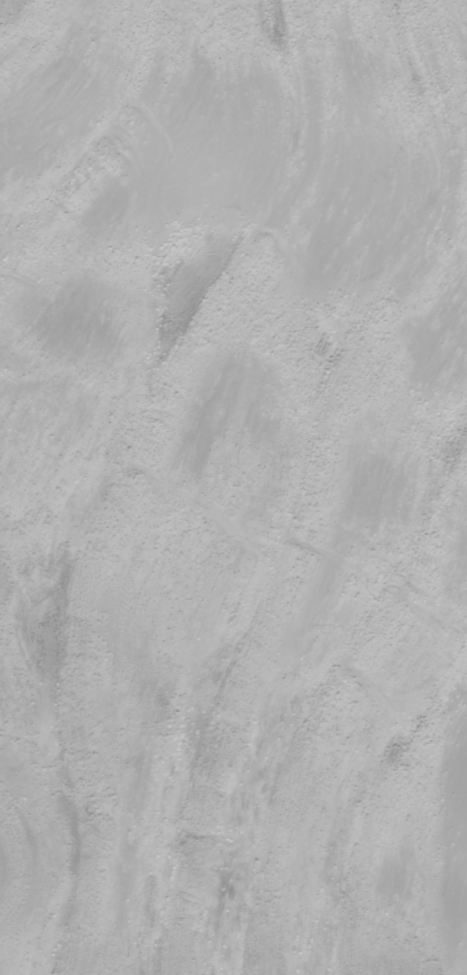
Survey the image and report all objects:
building: (465, 5)

